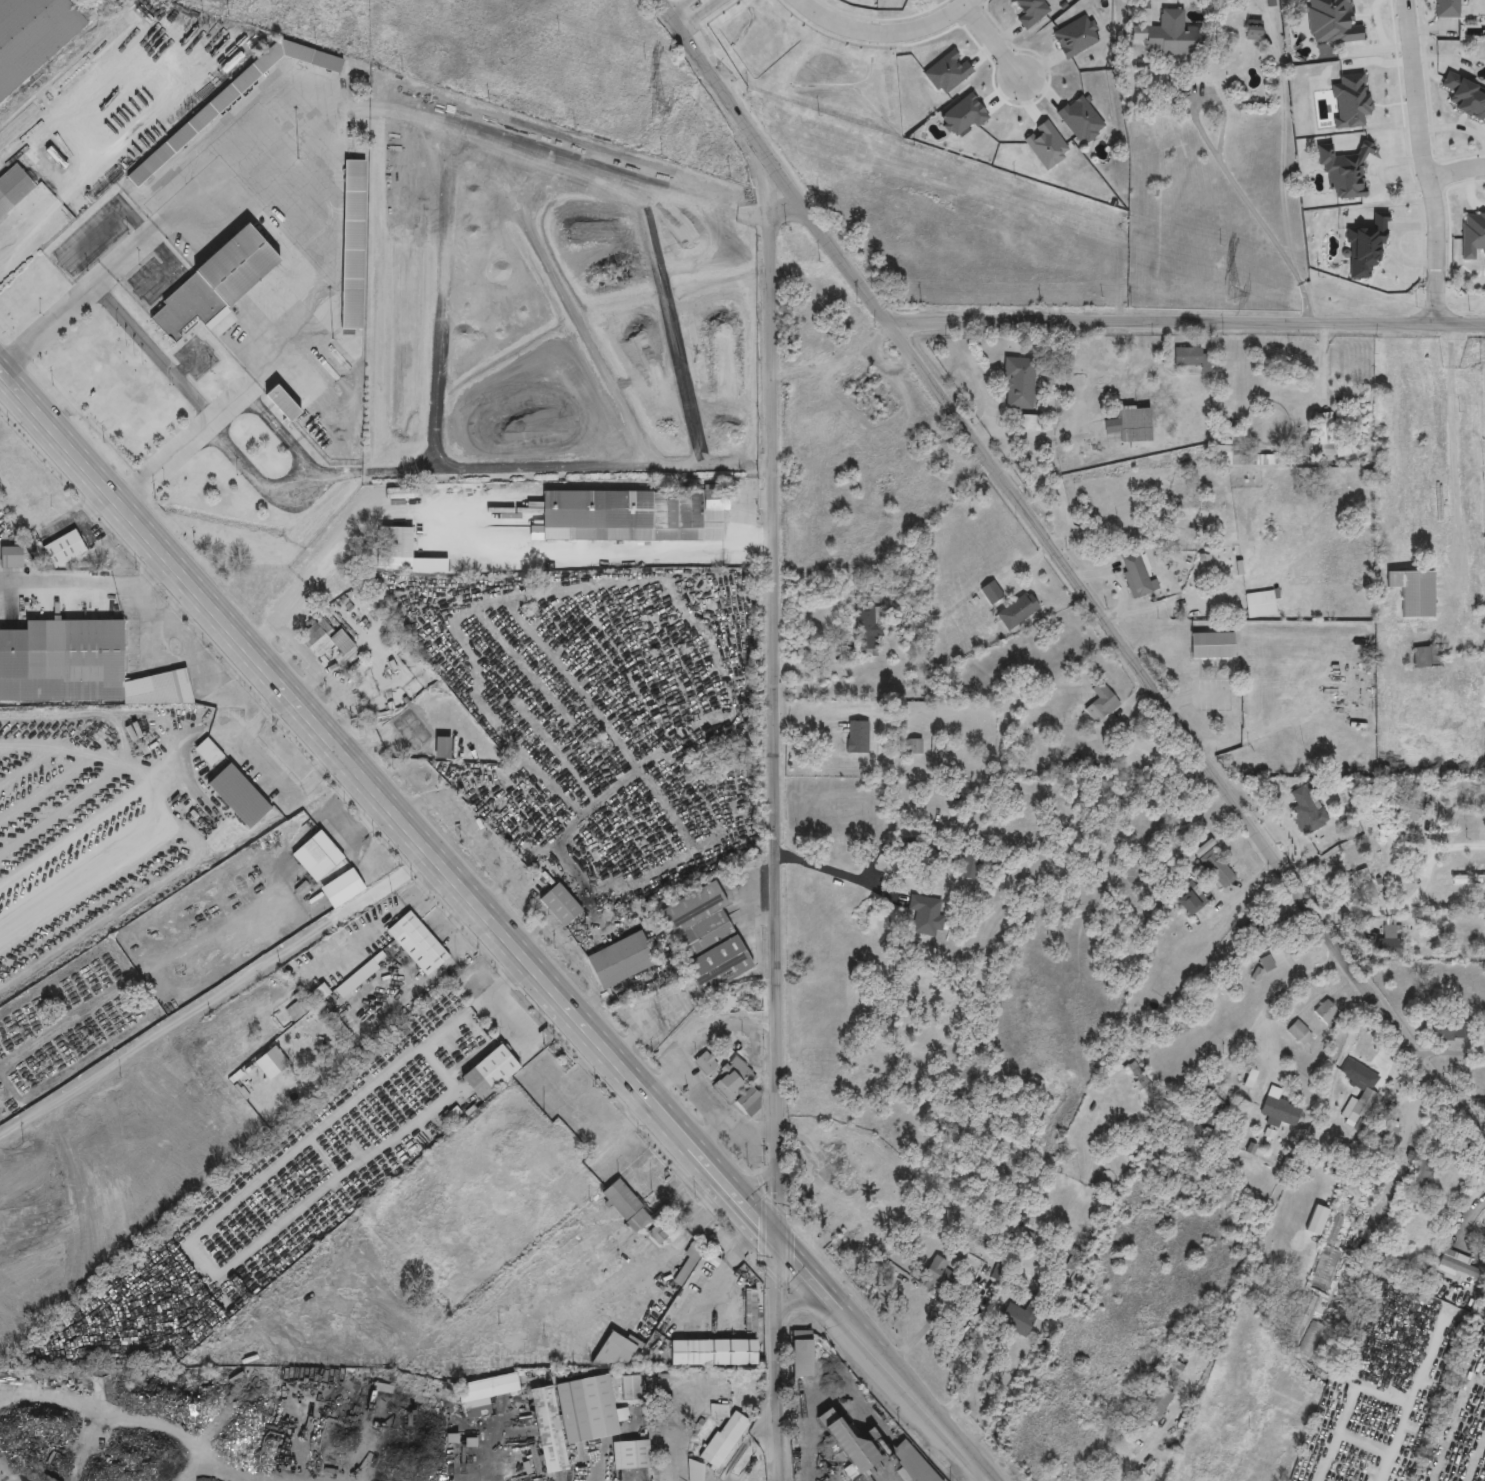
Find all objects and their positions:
road: (680, 6)
building: (1447, 9)
road: (702, 14)
road: (882, 30)
building: (1252, 31)
building: (1166, 35)
building: (32, 36)
road: (994, 43)
road: (141, 46)
building: (226, 95)
power tower: (657, 110)
road: (1220, 112)
road: (1418, 139)
building: (149, 164)
road: (776, 165)
road: (1456, 175)
building: (13, 189)
road: (272, 194)
road: (1242, 195)
road: (1468, 195)
road: (42, 216)
building: (351, 245)
road: (96, 277)
building: (211, 286)
power tower: (1231, 294)
road: (1436, 301)
road: (1188, 323)
road: (149, 351)
building: (1186, 357)
road: (980, 382)
building: (1019, 384)
road: (228, 399)
building: (286, 410)
building: (1141, 425)
road: (1451, 446)
building: (1338, 448)
road: (92, 473)
building: (633, 515)
road: (744, 518)
building: (400, 546)
building: (63, 549)
road: (598, 549)
building: (10, 557)
building: (1139, 577)
building: (1303, 583)
road: (64, 585)
road: (515, 592)
building: (991, 593)
building: (1414, 593)
building: (1261, 605)
road: (141, 610)
building: (1017, 611)
building: (867, 629)
building: (325, 640)
building: (1211, 646)
building: (1428, 657)
building: (77, 666)
road: (565, 679)
road: (538, 687)
road: (511, 698)
building: (1101, 704)
road: (91, 716)
road: (196, 724)
road: (226, 732)
road: (1191, 737)
building: (857, 738)
road: (1136, 739)
building: (913, 747)
building: (441, 748)
building: (207, 753)
road: (76, 754)
road: (267, 764)
building: (237, 796)
building: (1403, 808)
building: (1306, 811)
building: (1467, 816)
road: (775, 820)
road: (72, 836)
road: (486, 855)
building: (316, 857)
building: (1214, 866)
road: (836, 874)
road: (170, 878)
building: (1469, 880)
road: (500, 883)
building: (1367, 887)
building: (341, 890)
road: (1230, 897)
road: (1416, 901)
building: (1189, 904)
building: (559, 905)
road: (482, 906)
building: (926, 916)
road: (380, 920)
road: (443, 928)
road: (1279, 937)
building: (1263, 939)
building: (705, 940)
building: (1389, 940)
building: (416, 941)
building: (620, 961)
road: (422, 980)
road: (1281, 992)
road: (215, 996)
road: (478, 1005)
building: (1327, 1014)
road: (696, 1030)
building: (1451, 1030)
building: (1299, 1033)
road: (752, 1054)
building: (705, 1064)
building: (488, 1073)
building: (732, 1081)
building: (1360, 1086)
building: (748, 1101)
road: (707, 1108)
building: (1214, 1113)
building: (1280, 1114)
road: (748, 1129)
road: (1403, 1146)
road: (752, 1180)
building: (1421, 1181)
building: (637, 1213)
road: (1465, 1219)
traffic signals: (777, 1241)
building: (1457, 1266)
building: (940, 1277)
road: (800, 1304)
building: (1020, 1317)
road: (971, 1319)
building: (1312, 1340)
building: (615, 1352)
building: (710, 1353)
road: (882, 1361)
building: (1178, 1364)
building: (488, 1389)
building: (630, 1389)
road: (1411, 1391)
building: (1155, 1406)
building: (570, 1418)
road: (1352, 1439)
building: (723, 1441)
road: (197, 1459)
road: (1137, 1464)
road: (437, 1471)
building: (694, 1472)
road: (980, 1477)

